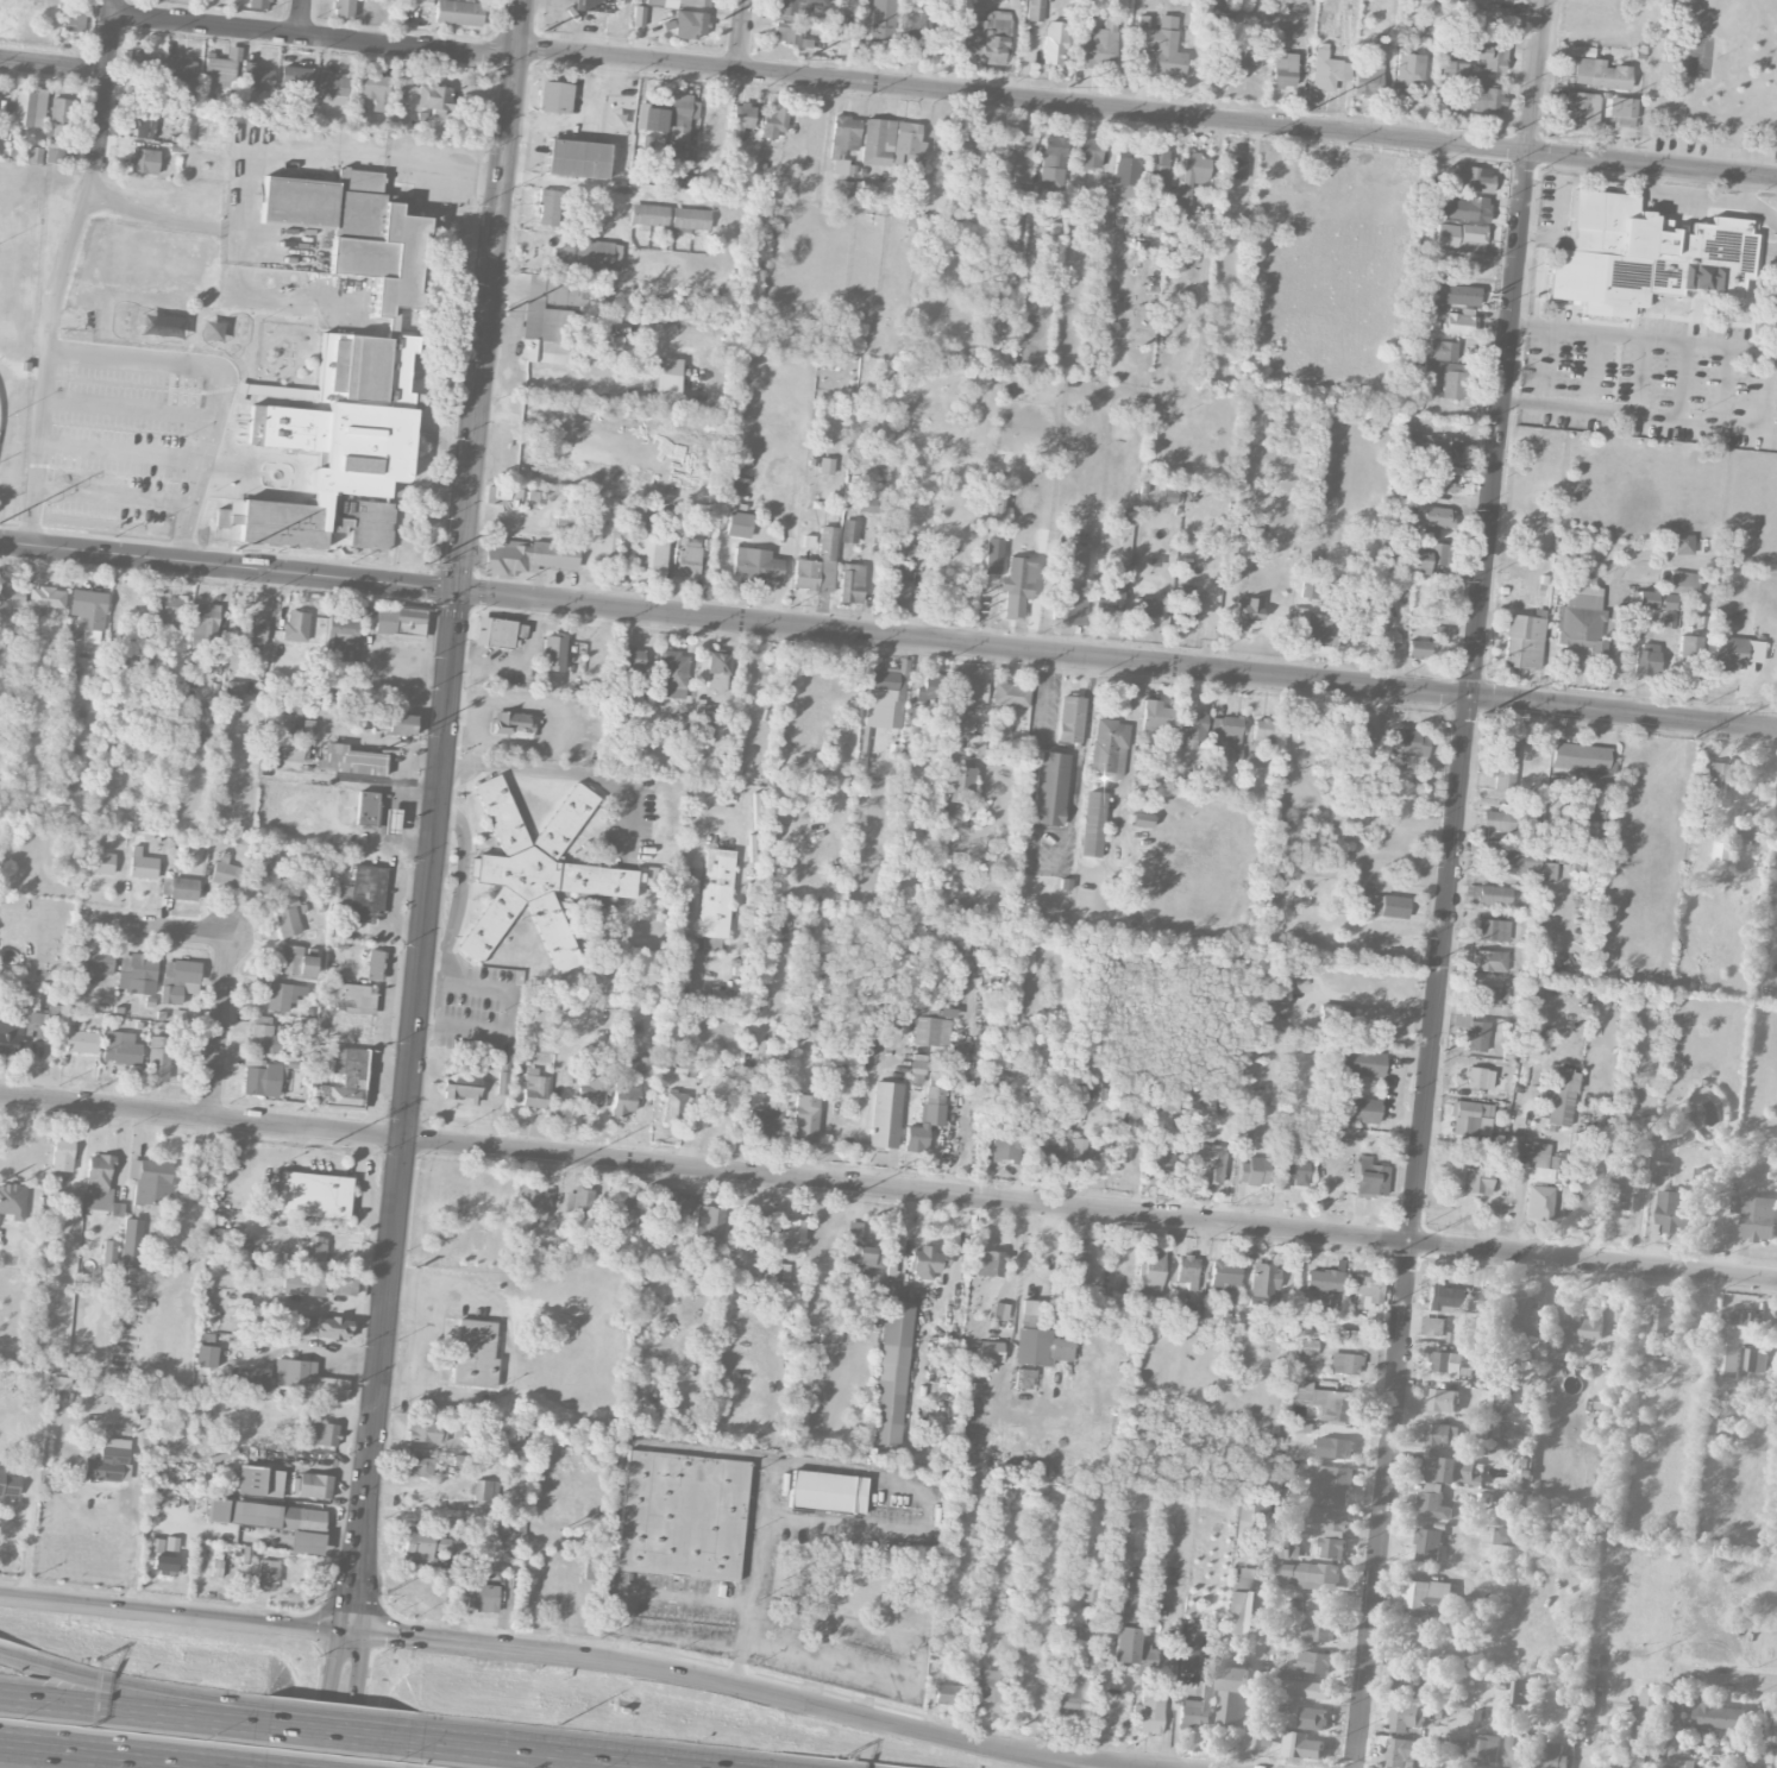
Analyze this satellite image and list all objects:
building: (26, 2)
building: (676, 2)
building: (257, 4)
building: (937, 4)
building: (596, 5)
building: (343, 8)
building: (790, 8)
building: (1036, 10)
building: (458, 12)
building: (639, 15)
building: (74, 17)
road: (302, 18)
building: (881, 20)
building: (1220, 20)
building: (690, 24)
road: (565, 25)
building: (910, 27)
road: (521, 29)
power tower: (530, 30)
building: (787, 32)
road: (742, 34)
building: (990, 37)
road: (315, 38)
building: (1054, 43)
building: (1097, 45)
building: (1161, 46)
power tower: (797, 57)
building: (1493, 59)
building: (143, 64)
building: (1227, 64)
road: (54, 65)
building: (178, 68)
building: (1283, 69)
building: (1409, 69)
building: (1327, 70)
building: (221, 71)
park: (1679, 73)
building: (1599, 74)
building: (257, 76)
building: (297, 76)
road: (106, 77)
building: (1368, 77)
power tower: (1067, 86)
building: (331, 88)
building: (373, 89)
building: (434, 96)
building: (554, 96)
building: (1482, 97)
building: (30, 107)
power tower: (1307, 109)
road: (1148, 111)
building: (1448, 111)
building: (1622, 111)
building: (1583, 112)
building: (58, 115)
building: (682, 115)
building: (649, 118)
building: (741, 119)
building: (774, 124)
road: (585, 125)
building: (144, 127)
building: (843, 136)
power tower: (1547, 136)
building: (961, 139)
building: (891, 143)
road: (260, 150)
building: (1090, 152)
building: (55, 153)
building: (34, 155)
building: (576, 158)
building: (1016, 158)
building: (144, 161)
building: (1053, 162)
building: (1157, 166)
building: (1237, 169)
building: (1125, 175)
building: (1474, 178)
building: (1188, 180)
road: (602, 188)
road: (1745, 188)
building: (846, 189)
road: (1702, 197)
building: (548, 203)
building: (1463, 208)
road: (1559, 212)
building: (648, 215)
building: (690, 219)
building: (354, 229)
building: (1457, 234)
building: (583, 256)
building: (1644, 256)
building: (1452, 294)
building: (341, 298)
power tower: (502, 307)
building: (546, 322)
road: (1521, 322)
building: (1458, 323)
road: (1610, 333)
road: (500, 341)
road: (1776, 342)
road: (46, 346)
building: (1442, 350)
road: (510, 356)
road: (128, 358)
road: (1543, 365)
building: (1448, 377)
building: (666, 379)
building: (291, 392)
road: (1520, 403)
road: (126, 409)
road: (1658, 417)
building: (339, 445)
building: (1443, 447)
road: (119, 451)
road: (202, 463)
building: (825, 465)
building: (1438, 483)
building: (502, 495)
road: (123, 496)
building: (530, 499)
building: (1433, 516)
building: (739, 524)
building: (702, 526)
building: (849, 530)
building: (1244, 534)
building: (1683, 545)
power tower: (236, 548)
road: (786, 548)
building: (908, 550)
building: (651, 553)
building: (992, 555)
building: (527, 556)
building: (1079, 556)
building: (1428, 558)
building: (687, 561)
building: (818, 564)
building: (755, 566)
power tower: (475, 575)
building: (850, 583)
building: (1683, 583)
building: (1017, 585)
building: (1313, 587)
building: (898, 590)
traffic signals: (459, 591)
building: (1109, 593)
building: (11, 597)
building: (46, 597)
building: (1644, 599)
building: (1068, 602)
building: (1666, 602)
building: (1186, 603)
road: (1612, 605)
building: (1247, 609)
building: (169, 610)
building: (1145, 612)
building: (88, 614)
building: (1581, 621)
building: (398, 622)
building: (295, 625)
building: (203, 627)
building: (249, 628)
building: (1317, 630)
building: (495, 631)
building: (343, 635)
road: (887, 635)
building: (1384, 640)
building: (1522, 641)
building: (1689, 646)
building: (1418, 648)
building: (553, 652)
building: (1733, 653)
building: (633, 658)
building: (149, 659)
building: (1645, 662)
road: (525, 671)
building: (717, 671)
building: (672, 674)
power tower: (1455, 678)
building: (931, 690)
building: (967, 690)
building: (232, 692)
building: (817, 693)
building: (1010, 694)
building: (880, 697)
building: (702, 710)
building: (897, 712)
power tower: (1483, 715)
building: (1156, 716)
building: (1306, 716)
building: (1069, 718)
road: (753, 722)
building: (401, 723)
building: (510, 724)
road: (548, 725)
building: (1191, 725)
building: (1262, 729)
building: (786, 731)
building: (803, 731)
building: (1224, 731)
building: (1356, 736)
power tower: (1693, 737)
building: (974, 744)
building: (1109, 745)
building: (1408, 747)
building: (291, 750)
road: (470, 756)
building: (1580, 756)
building: (1503, 760)
building: (351, 761)
road: (559, 772)
building: (1715, 780)
building: (957, 784)
building: (1049, 788)
building: (1776, 799)
building: (366, 809)
building: (1595, 811)
building: (1141, 819)
building: (1497, 819)
building: (390, 820)
building: (1092, 824)
road: (433, 845)
building: (1723, 851)
building: (98, 857)
building: (1514, 861)
building: (1577, 862)
building: (142, 864)
building: (535, 873)
building: (225, 874)
building: (268, 881)
road: (1450, 883)
building: (165, 886)
building: (183, 888)
building: (363, 893)
building: (1493, 895)
building: (715, 896)
building: (289, 901)
building: (1387, 905)
building: (287, 921)
road: (156, 927)
building: (1493, 930)
road: (447, 940)
building: (296, 961)
road: (433, 961)
building: (1489, 961)
building: (95, 962)
building: (373, 964)
power tower: (1424, 965)
building: (136, 973)
building: (821, 973)
building: (170, 994)
building: (283, 995)
building: (352, 995)
building: (1487, 995)
building: (1279, 996)
road: (1377, 999)
road: (438, 1003)
building: (1482, 1009)
building: (1333, 1015)
building: (34, 1024)
road: (221, 1027)
road: (460, 1027)
building: (930, 1031)
building: (1473, 1032)
building: (10, 1037)
building: (264, 1039)
building: (81, 1042)
building: (120, 1047)
power tower: (1445, 1051)
building: (158, 1058)
building: (1361, 1063)
building: (680, 1064)
building: (642, 1065)
building: (503, 1075)
building: (341, 1077)
building: (1478, 1077)
building: (260, 1080)
building: (460, 1086)
building: (534, 1089)
building: (592, 1093)
building: (1561, 1096)
building: (623, 1099)
building: (673, 1106)
building: (1356, 1109)
power tower: (49, 1114)
building: (885, 1114)
building: (805, 1118)
building: (1470, 1118)
building: (925, 1119)
building: (761, 1125)
power tower: (331, 1143)
building: (1004, 1147)
building: (1046, 1150)
building: (1538, 1153)
building: (62, 1154)
building: (1082, 1157)
building: (1160, 1160)
building: (1210, 1165)
power tower: (561, 1168)
building: (1662, 1169)
building: (1252, 1171)
building: (1292, 1174)
road: (1518, 1174)
building: (1370, 1177)
building: (1703, 1179)
building: (1476, 1181)
building: (151, 1182)
building: (99, 1184)
road: (887, 1188)
building: (1586, 1189)
building: (1624, 1193)
building: (314, 1194)
power tower: (849, 1197)
building: (13, 1201)
building: (578, 1202)
building: (1538, 1202)
building: (674, 1204)
building: (532, 1208)
building: (623, 1208)
building: (1676, 1213)
building: (1756, 1216)
power tower: (1117, 1225)
building: (709, 1226)
building: (751, 1231)
building: (795, 1231)
building: (132, 1241)
building: (315, 1250)
building: (108, 1252)
power tower: (1392, 1253)
building: (865, 1258)
building: (927, 1261)
building: (988, 1263)
building: (1075, 1267)
building: (776, 1270)
building: (1187, 1271)
building: (1149, 1275)
building: (1225, 1279)
building: (1264, 1279)
building: (1324, 1281)
building: (303, 1284)
building: (343, 1286)
building: (1367, 1291)
road: (439, 1292)
building: (743, 1295)
building: (1443, 1298)
building: (1480, 1301)
building: (999, 1311)
building: (1076, 1311)
building: (1526, 1316)
building: (1660, 1320)
building: (1301, 1325)
building: (1432, 1326)
building: (324, 1327)
building: (1584, 1329)
road: (422, 1340)
building: (1040, 1341)
building: (1733, 1342)
building: (1307, 1346)
road: (349, 1352)
building: (476, 1352)
building: (206, 1355)
building: (1754, 1360)
building: (1345, 1363)
building: (1446, 1363)
building: (891, 1373)
building: (1024, 1377)
building: (303, 1378)
building: (257, 1379)
building: (228, 1383)
road: (432, 1391)
building: (1501, 1398)
building: (138, 1401)
building: (1442, 1401)
building: (1326, 1402)
power tower: (1405, 1412)
building: (423, 1432)
building: (502, 1433)
building: (322, 1434)
building: (1440, 1435)
building: (1335, 1448)
building: (108, 1461)
road: (795, 1461)
building: (416, 1466)
building: (1301, 1468)
building: (1449, 1470)
building: (259, 1480)
building: (8, 1484)
building: (314, 1485)
building: (1335, 1486)
building: (485, 1490)
building: (827, 1490)
building: (1433, 1503)
building: (1249, 1505)
building: (265, 1515)
building: (680, 1515)
building: (1332, 1518)
building: (501, 1525)
building: (1506, 1536)
building: (304, 1542)
building: (155, 1543)
building: (423, 1543)
building: (1428, 1544)
road: (133, 1547)
building: (1332, 1548)
road: (756, 1550)
building: (1287, 1550)
building: (163, 1562)
building: (266, 1574)
building: (1312, 1575)
building: (1091, 1592)
building: (482, 1597)
building: (1426, 1598)
building: (1239, 1600)
building: (1324, 1604)
road: (176, 1613)
building: (1130, 1621)
building: (1317, 1631)
traffic signals: (353, 1632)
building: (1086, 1637)
road: (459, 1643)
road: (620, 1644)
road: (921, 1648)
building: (1189, 1651)
road: (739, 1662)
building: (1316, 1662)
road: (33, 1666)
building: (1270, 1678)
road: (1728, 1681)
building: (1405, 1684)
building: (987, 1685)
road: (754, 1687)
road: (1251, 1687)
building: (1306, 1690)
building: (1589, 1691)
building: (1519, 1692)
building: (948, 1693)
building: (1232, 1697)
road: (128, 1698)
building: (1070, 1698)
road: (345, 1700)
road: (94, 1706)
building: (1280, 1706)
building: (1198, 1707)
building: (1149, 1710)
building: (1674, 1712)
building: (1718, 1716)
building: (1407, 1717)
building: (1312, 1718)
road: (1600, 1722)
road: (228, 1724)
building: (1643, 1731)
road: (338, 1736)
building: (1263, 1736)
road: (5, 1742)
road: (5, 1742)
building: (1301, 1745)
building: (1484, 1749)
road: (999, 1751)
building: (1406, 1751)
building: (1519, 1753)
road: (103, 1755)
road: (529, 1756)
road: (1054, 1756)
building: (1552, 1756)
building: (1676, 1763)

